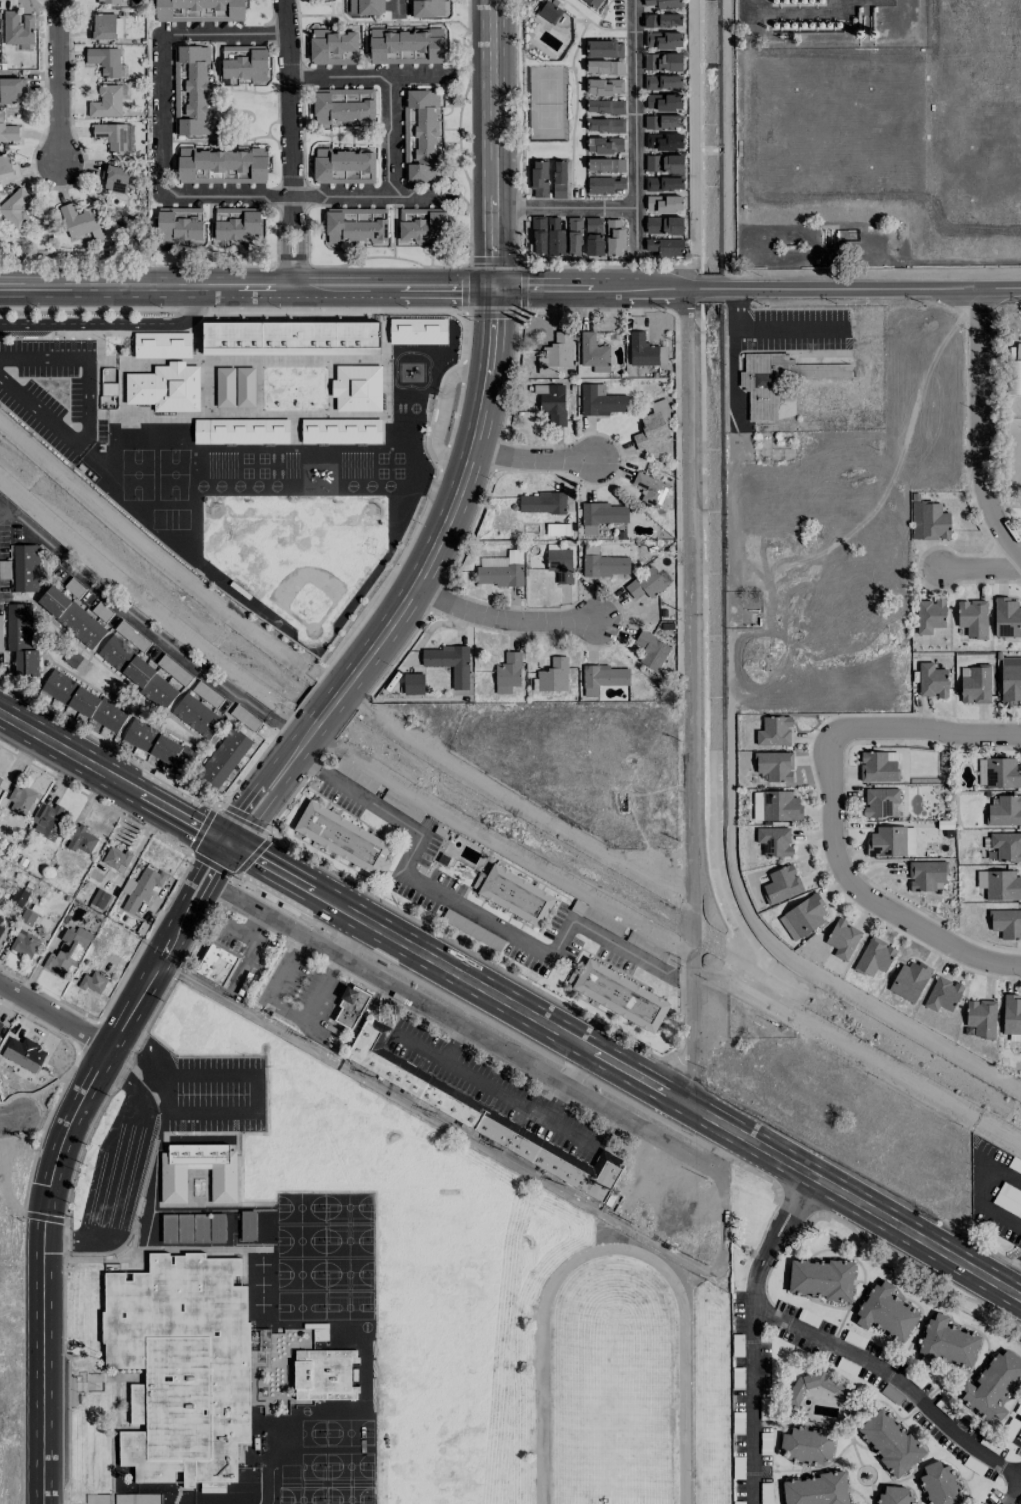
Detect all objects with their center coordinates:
building: (109, 1)
building: (592, 2)
building: (663, 3)
building: (365, 6)
building: (425, 8)
road: (397, 9)
building: (199, 10)
building: (550, 12)
building: (662, 19)
building: (102, 25)
building: (17, 27)
road: (225, 34)
building: (663, 39)
building: (406, 45)
building: (333, 46)
building: (603, 48)
building: (107, 60)
building: (244, 61)
building: (663, 61)
building: (605, 66)
road: (367, 76)
building: (663, 81)
road: (58, 83)
building: (605, 86)
building: (10, 89)
building: (190, 89)
building: (107, 100)
building: (664, 101)
building: (344, 105)
building: (604, 106)
building: (663, 121)
building: (605, 124)
road: (636, 127)
building: (8, 130)
building: (420, 134)
building: (115, 136)
road: (391, 136)
building: (663, 141)
road: (493, 142)
road: (291, 143)
building: (605, 144)
road: (693, 144)
road: (725, 144)
building: (605, 164)
building: (221, 165)
building: (344, 166)
building: (6, 167)
building: (665, 172)
building: (114, 178)
building: (539, 178)
building: (559, 179)
road: (161, 180)
building: (606, 184)
road: (371, 196)
building: (664, 203)
road: (565, 207)
building: (15, 208)
building: (78, 219)
building: (179, 223)
building: (237, 224)
building: (356, 224)
building: (422, 224)
building: (574, 233)
building: (664, 234)
building: (548, 235)
building: (594, 235)
building: (614, 236)
road: (519, 260)
traffic signals: (496, 285)
road: (248, 287)
road: (758, 288)
road: (110, 324)
building: (417, 329)
road: (767, 332)
building: (292, 339)
building: (161, 345)
building: (645, 350)
building: (556, 353)
building: (594, 353)
building: (773, 380)
building: (167, 388)
building: (358, 388)
parking lot: (50, 393)
building: (600, 400)
building: (553, 406)
road: (85, 411)
road: (981, 424)
building: (652, 425)
building: (342, 430)
building: (241, 432)
road: (536, 461)
building: (650, 488)
building: (542, 502)
road: (688, 504)
building: (600, 514)
building: (930, 521)
road: (441, 534)
park: (294, 552)
road: (167, 561)
building: (602, 562)
building: (560, 564)
building: (26, 567)
road: (980, 568)
building: (501, 569)
building: (646, 583)
road: (153, 607)
building: (930, 615)
building: (71, 616)
building: (973, 617)
building: (1007, 617)
road: (501, 618)
road: (149, 625)
building: (21, 637)
building: (652, 649)
building: (72, 658)
building: (449, 662)
building: (137, 671)
building: (508, 672)
building: (554, 675)
building: (602, 677)
building: (1010, 679)
building: (932, 680)
building: (413, 683)
building: (86, 701)
building: (197, 715)
road: (924, 729)
building: (774, 730)
building: (159, 745)
building: (224, 757)
building: (775, 765)
building: (878, 767)
road: (113, 777)
building: (0, 779)
road: (262, 795)
building: (20, 799)
building: (881, 802)
building: (776, 805)
road: (225, 806)
building: (1005, 810)
building: (47, 820)
building: (343, 837)
building: (80, 838)
building: (774, 840)
building: (892, 840)
traffic signals: (227, 842)
building: (1006, 845)
building: (116, 858)
building: (925, 875)
building: (782, 883)
building: (1000, 884)
building: (141, 888)
building: (514, 894)
road: (866, 895)
building: (19, 896)
building: (101, 898)
road: (690, 907)
road: (256, 908)
road: (466, 909)
building: (806, 913)
building: (28, 916)
building: (0, 917)
building: (1007, 922)
building: (1, 928)
building: (790, 929)
building: (843, 938)
building: (24, 943)
building: (67, 953)
building: (875, 956)
building: (216, 964)
building: (910, 979)
building: (93, 981)
road: (280, 982)
building: (943, 993)
building: (619, 994)
building: (350, 1006)
building: (1011, 1014)
road: (55, 1016)
building: (982, 1017)
building: (0, 1023)
road: (454, 1043)
building: (24, 1052)
road: (530, 1064)
road: (576, 1065)
road: (626, 1069)
road: (250, 1076)
road: (495, 1089)
road: (556, 1101)
building: (478, 1113)
road: (11, 1117)
road: (58, 1151)
road: (508, 1158)
road: (136, 1174)
building: (224, 1183)
road: (981, 1194)
building: (248, 1224)
building: (186, 1227)
building: (202, 1227)
building: (218, 1227)
building: (170, 1228)
road: (1, 1241)
building: (821, 1278)
road: (1011, 1281)
building: (886, 1311)
road: (756, 1336)
building: (947, 1342)
building: (206, 1365)
road: (898, 1377)
building: (993, 1384)
track: (615, 1385)
building: (890, 1442)
building: (805, 1445)
building: (940, 1483)
building: (817, 1489)
road: (1008, 1491)
building: (895, 1495)

